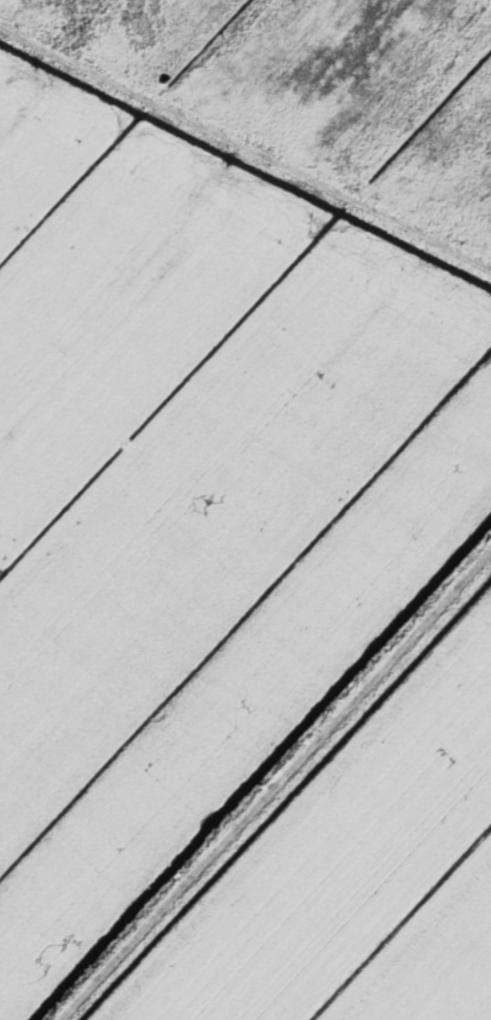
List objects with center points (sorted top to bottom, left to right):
crop: (192, 488)
road: (277, 787)
crop: (355, 872)

